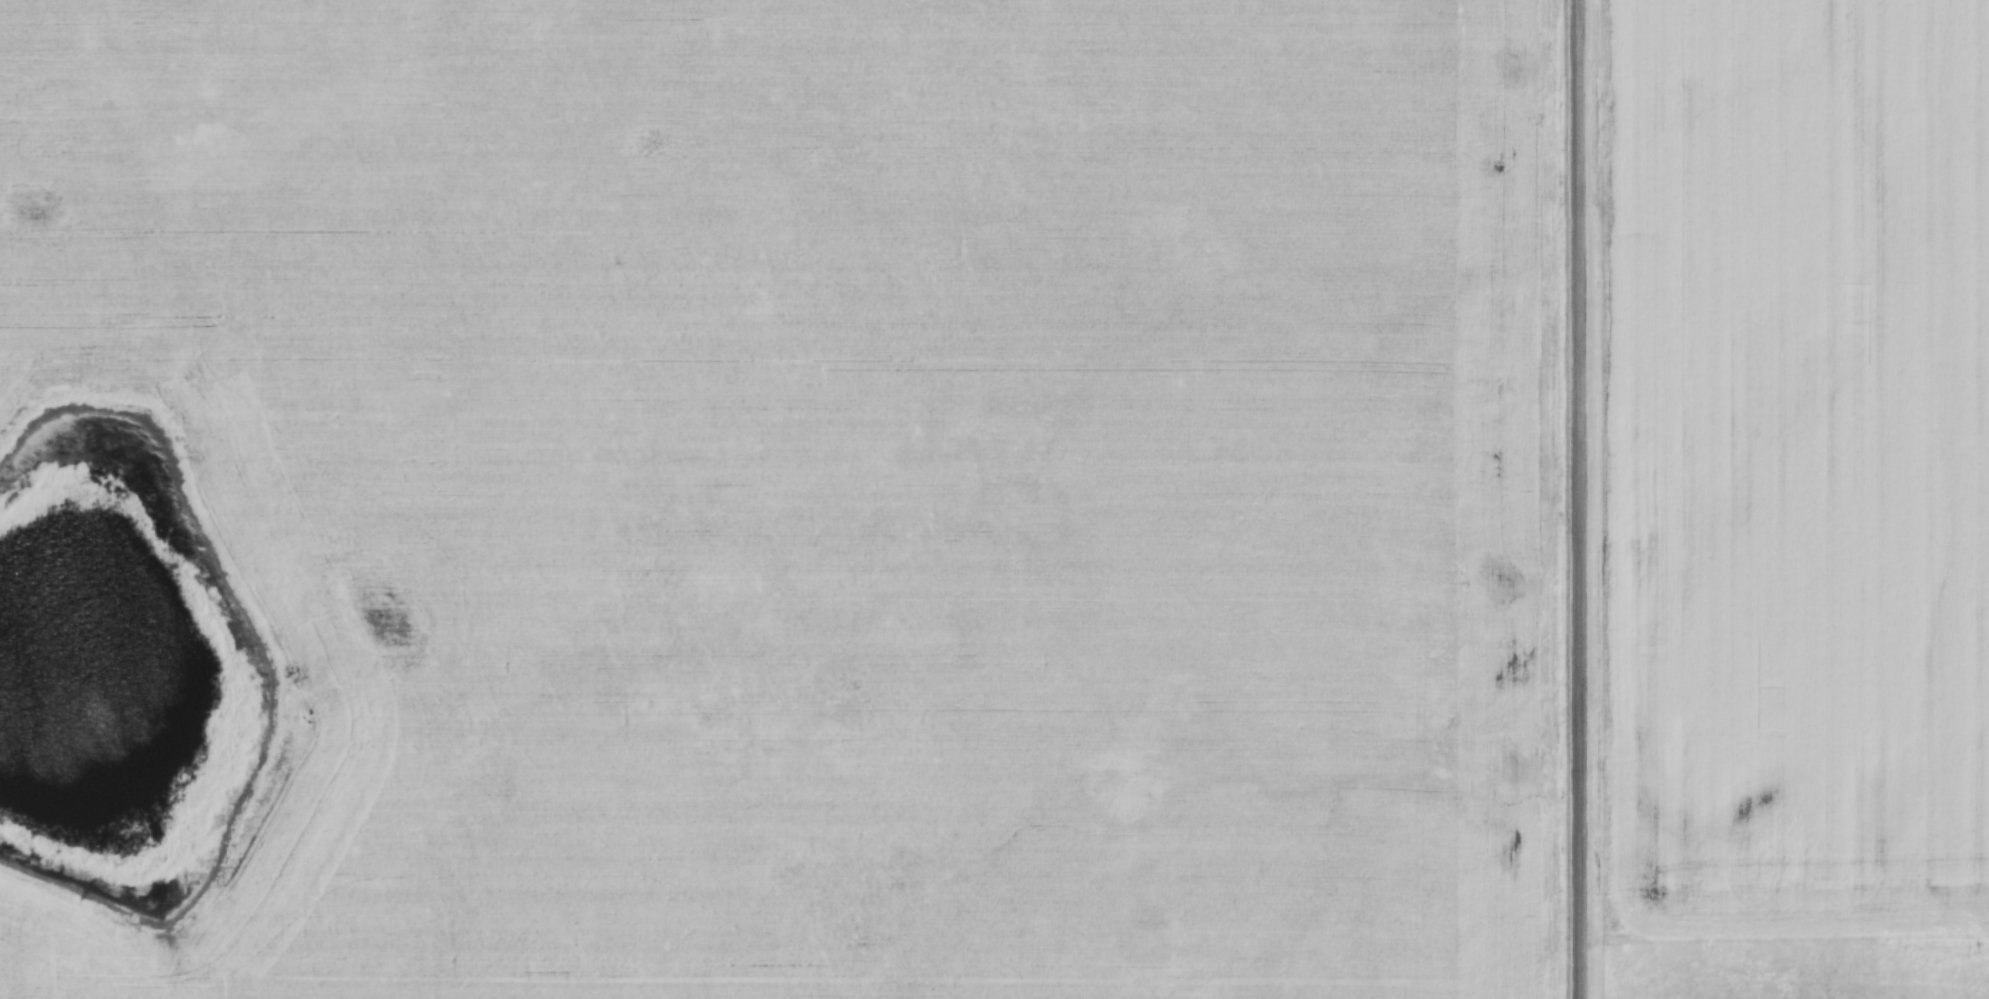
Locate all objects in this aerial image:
road: (1580, 499)

